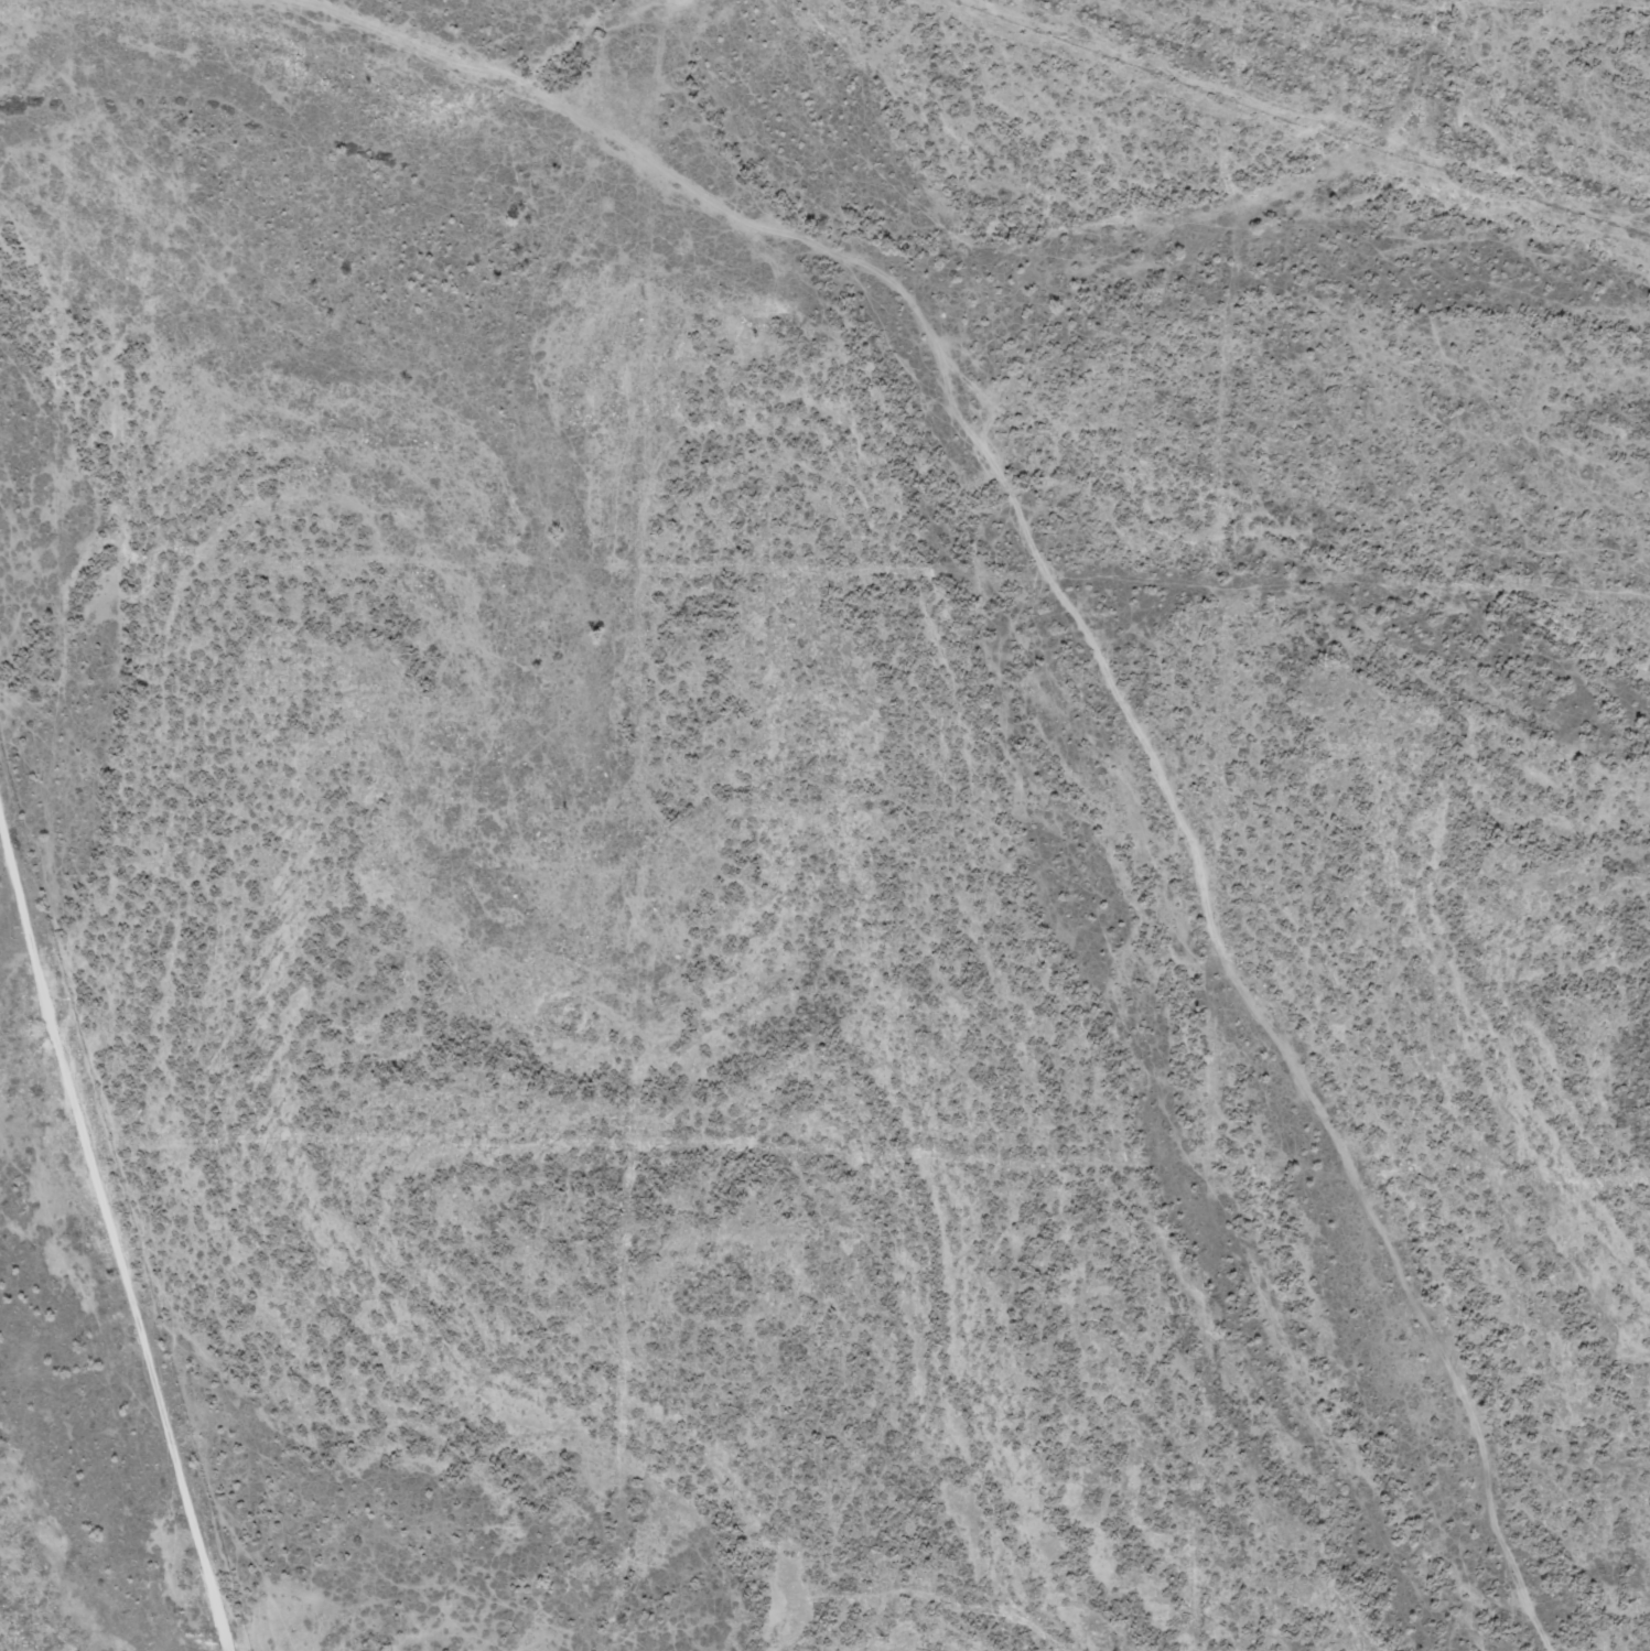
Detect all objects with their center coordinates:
road: (1119, 652)
road: (187, 1231)

